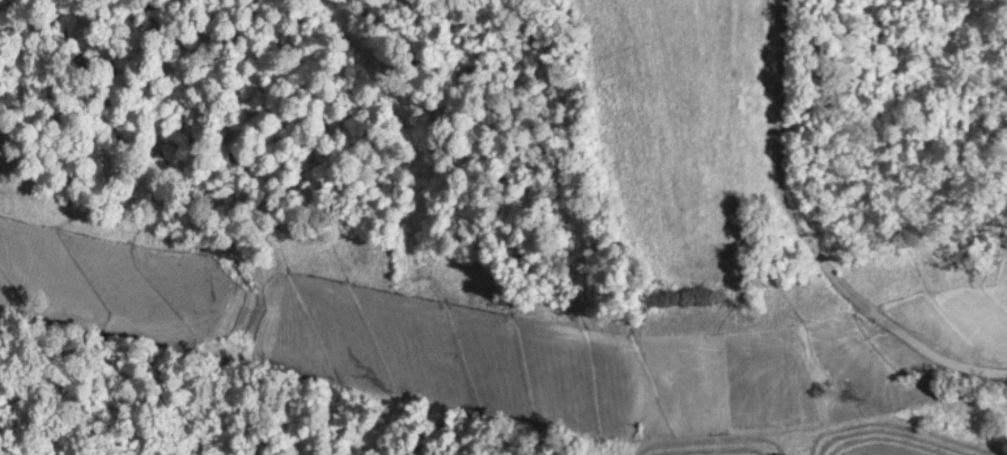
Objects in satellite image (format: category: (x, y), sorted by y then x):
road: (813, 235)

